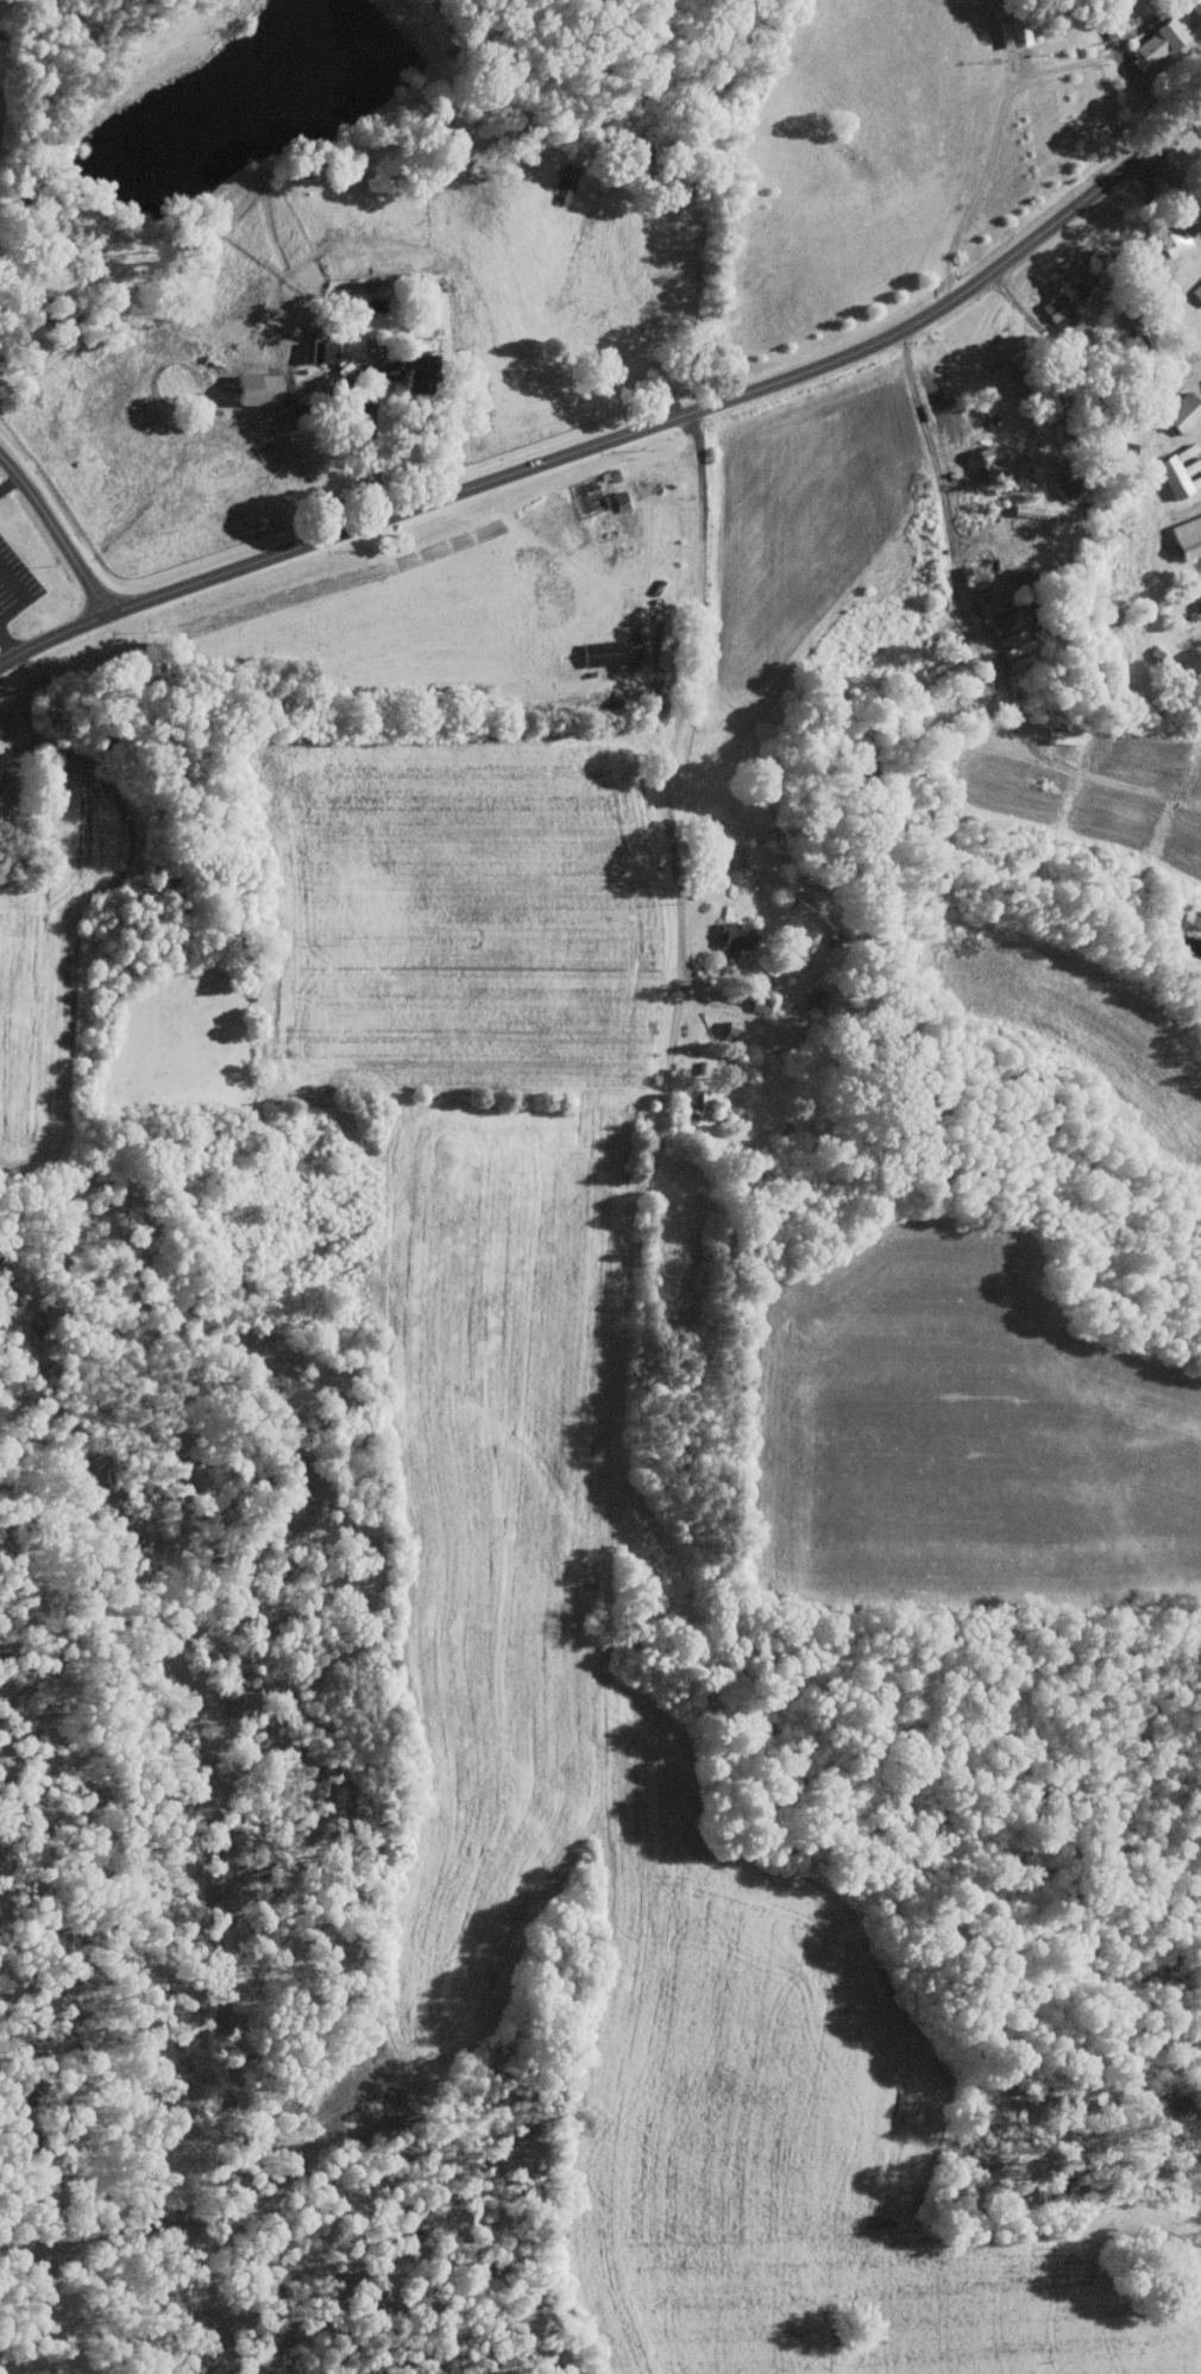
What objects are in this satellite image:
building: (1117, 20)
building: (1018, 27)
building: (1155, 44)
road: (1008, 96)
road: (1175, 184)
building: (1174, 239)
road: (1153, 272)
building: (1197, 290)
road: (1027, 313)
building: (1063, 315)
building: (316, 343)
road: (1197, 353)
building: (415, 370)
building: (254, 388)
building: (1182, 412)
road: (624, 435)
road: (376, 450)
building: (989, 463)
building: (1180, 470)
road: (7, 478)
building: (1068, 484)
road: (947, 501)
road: (58, 532)
building: (1187, 536)
road: (26, 593)
building: (1199, 599)
road: (11, 642)
road: (673, 770)
building: (734, 937)
building: (698, 1109)

